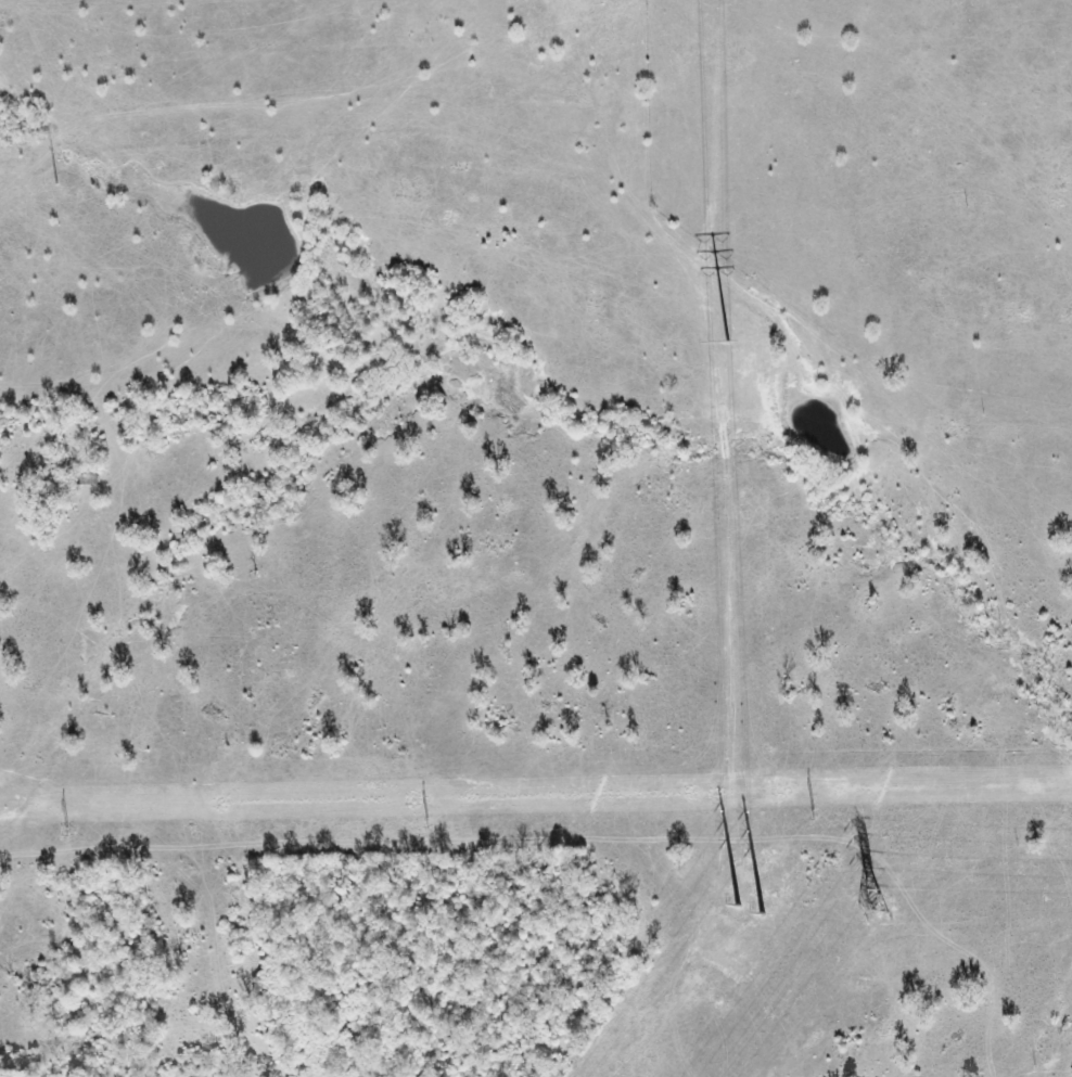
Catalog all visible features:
power tower: (56, 183)
power tower: (816, 817)
power tower: (430, 824)
power tower: (68, 832)
power tower: (737, 884)
power tower: (871, 907)

